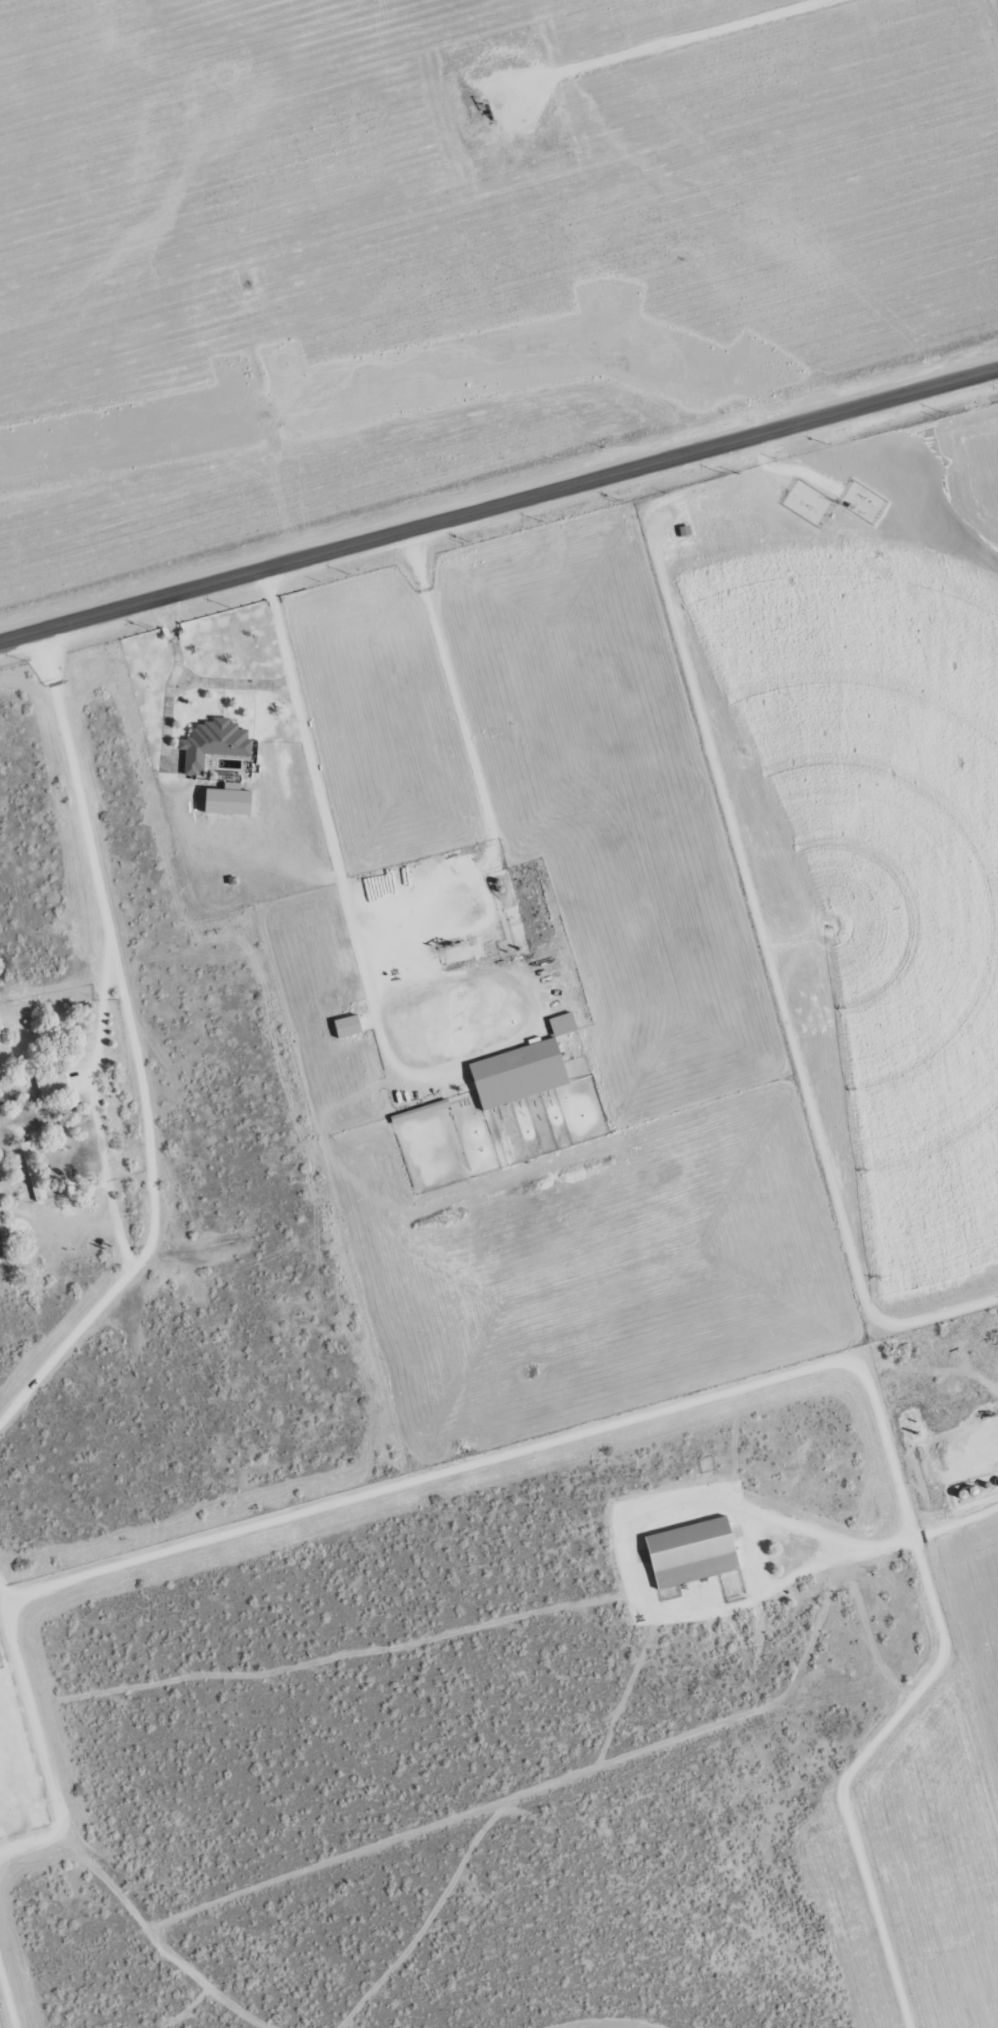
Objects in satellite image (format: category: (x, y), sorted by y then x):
crop: (452, 263)
road: (499, 512)
road: (280, 630)
road: (199, 680)
building: (215, 744)
road: (474, 873)
building: (564, 1026)
road: (136, 1054)
building: (519, 1075)
building: (53, 1089)
road: (95, 1112)
building: (34, 1172)
building: (693, 1554)
building: (643, 1557)
road: (40, 1741)

